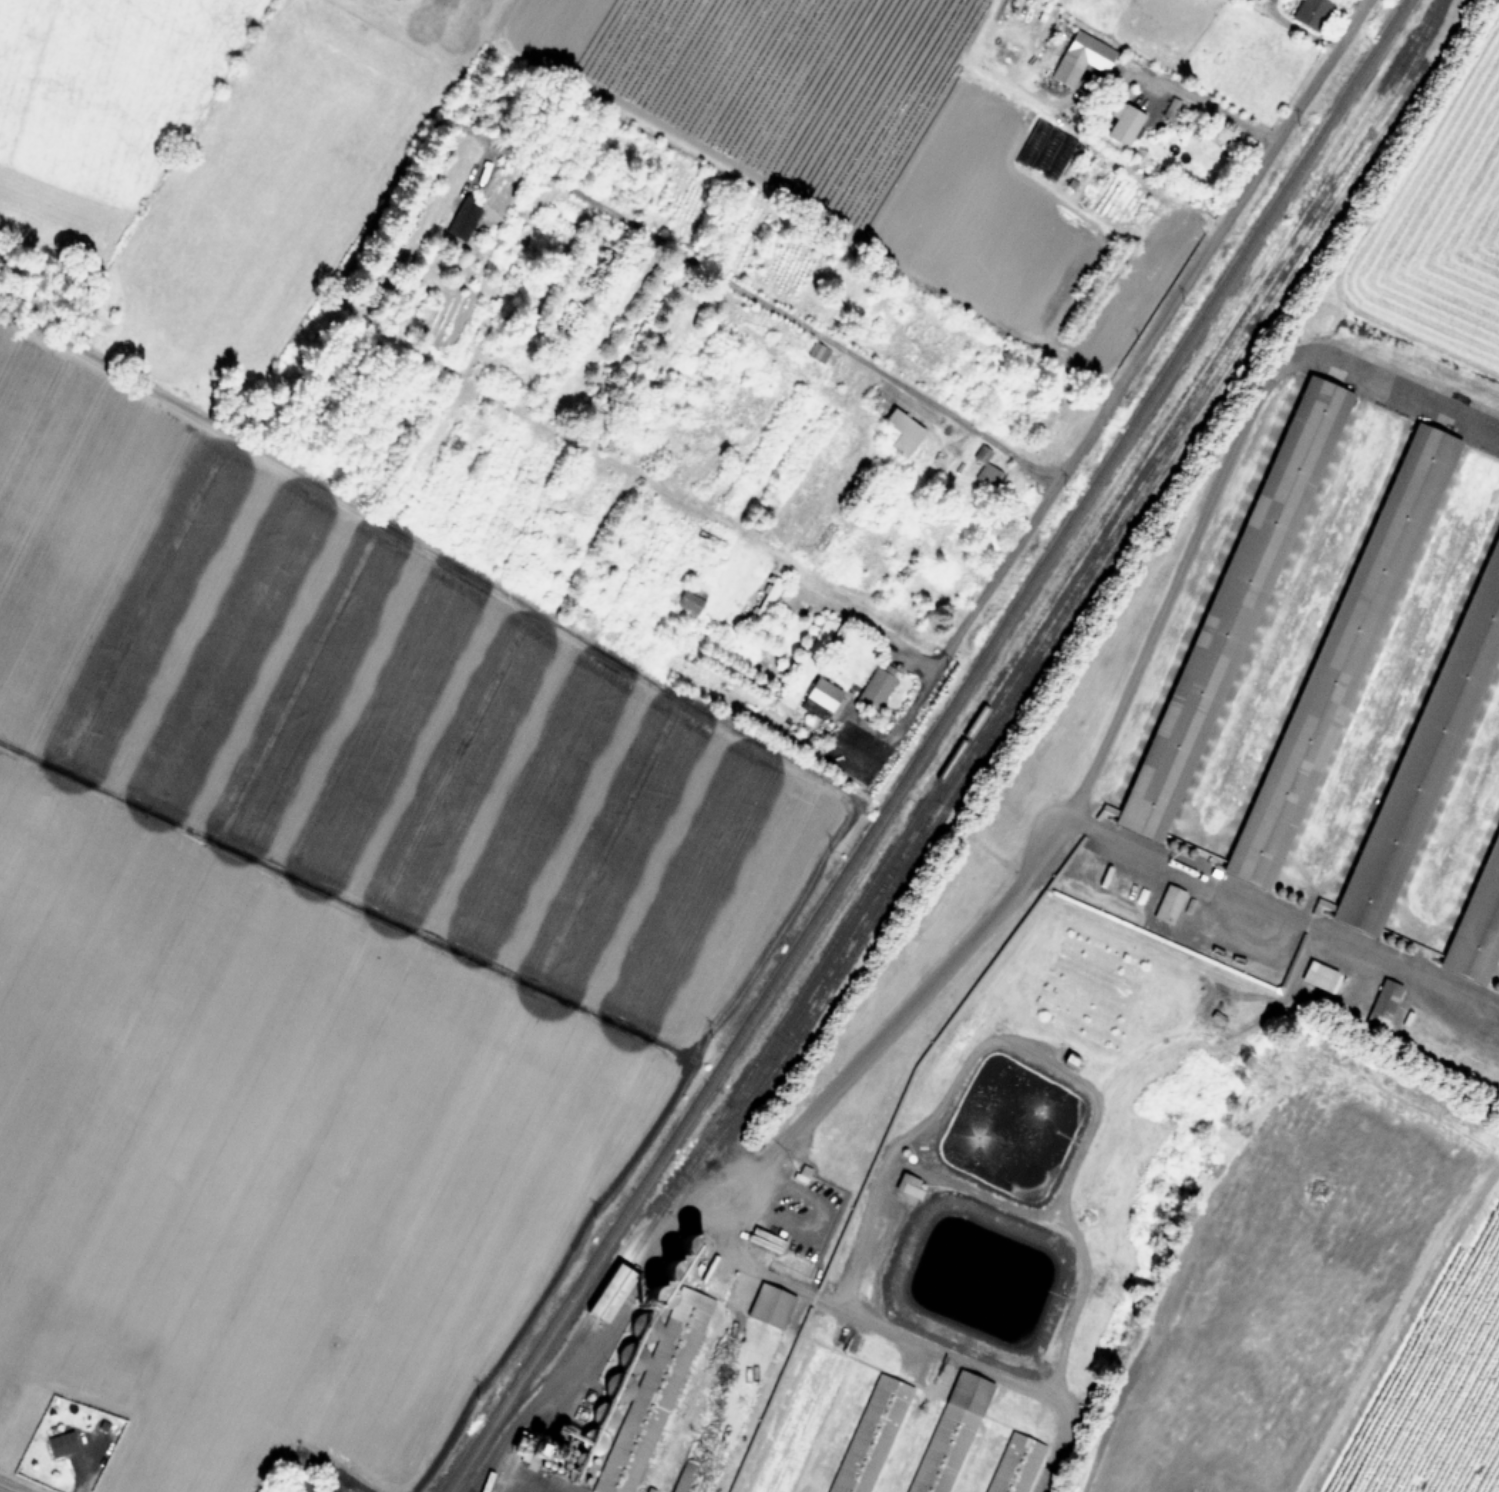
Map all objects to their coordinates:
building: (1310, 12)
building: (1080, 57)
road: (1205, 99)
building: (1170, 107)
building: (1123, 124)
building: (1044, 152)
crop: (1436, 211)
road: (775, 308)
building: (818, 353)
road: (1113, 394)
building: (898, 431)
building: (985, 470)
road: (1217, 479)
railway: (1081, 596)
building: (766, 599)
railway: (1064, 599)
building: (688, 601)
crop: (490, 606)
building: (1232, 608)
road: (871, 623)
building: (1341, 655)
building: (875, 688)
building: (822, 694)
railway: (925, 745)
railway: (955, 751)
building: (1428, 751)
building: (1168, 905)
road: (1285, 914)
building: (1483, 934)
building: (1318, 977)
building: (1382, 1005)
crop: (1490, 1139)
building: (909, 1186)
road: (731, 1200)
building: (609, 1295)
crop: (1328, 1317)
building: (648, 1378)
building: (732, 1389)
building: (797, 1420)
building: (945, 1432)
building: (868, 1435)
road: (303, 1438)
building: (98, 1443)
building: (60, 1445)
building: (1012, 1464)
road: (520, 1475)

